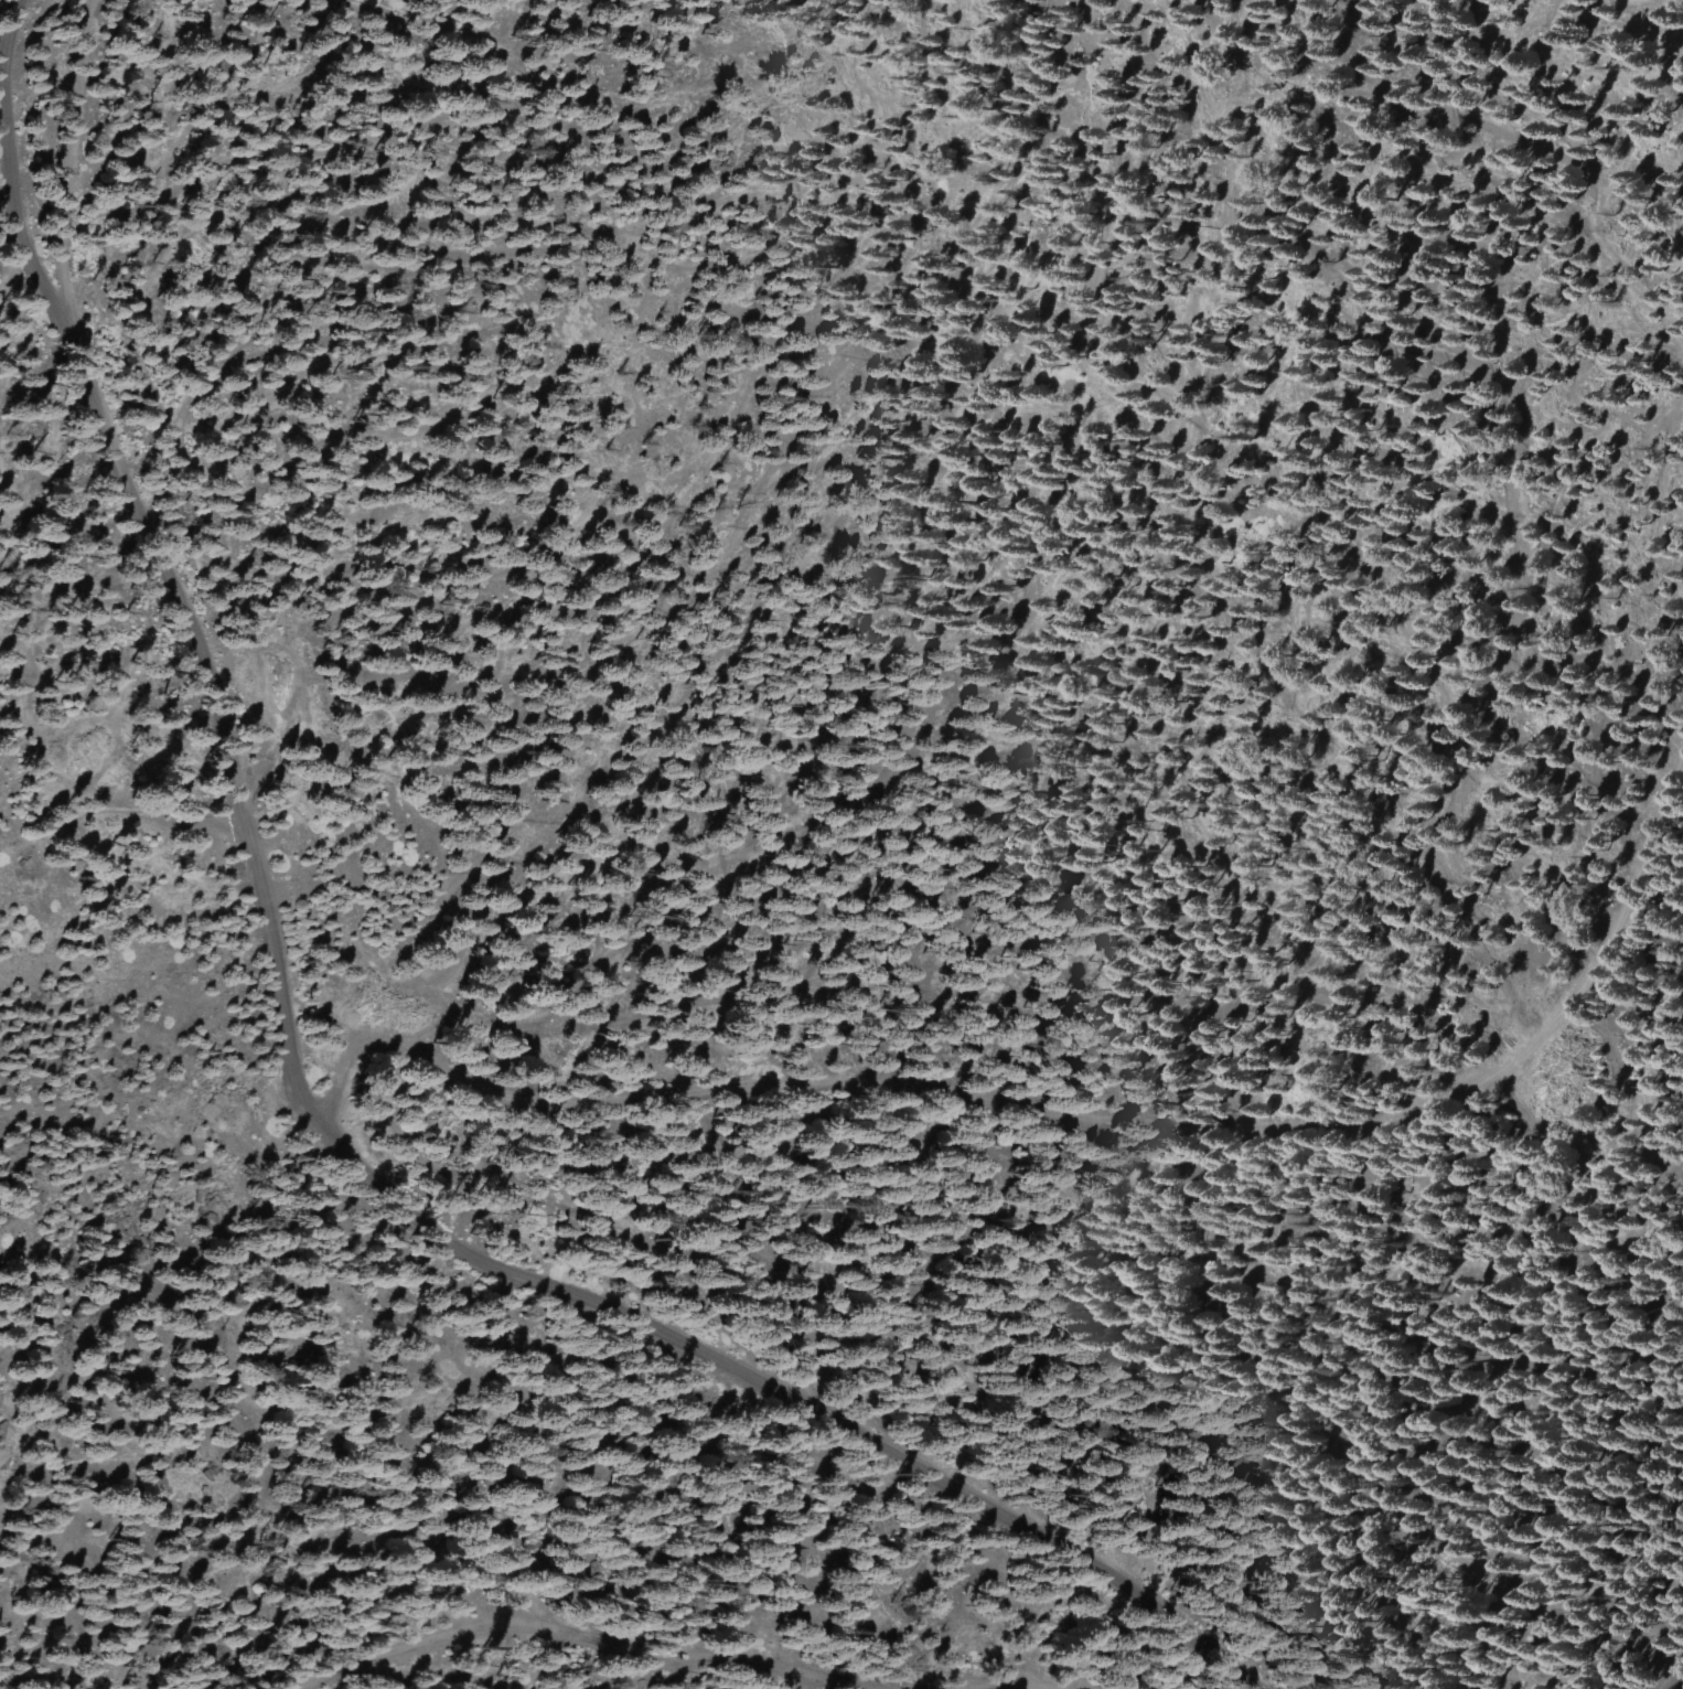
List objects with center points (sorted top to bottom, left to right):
road: (76, 147)
road: (302, 1098)
road: (1063, 1111)
road: (583, 1635)
road: (1676, 1683)
road: (1012, 1688)

